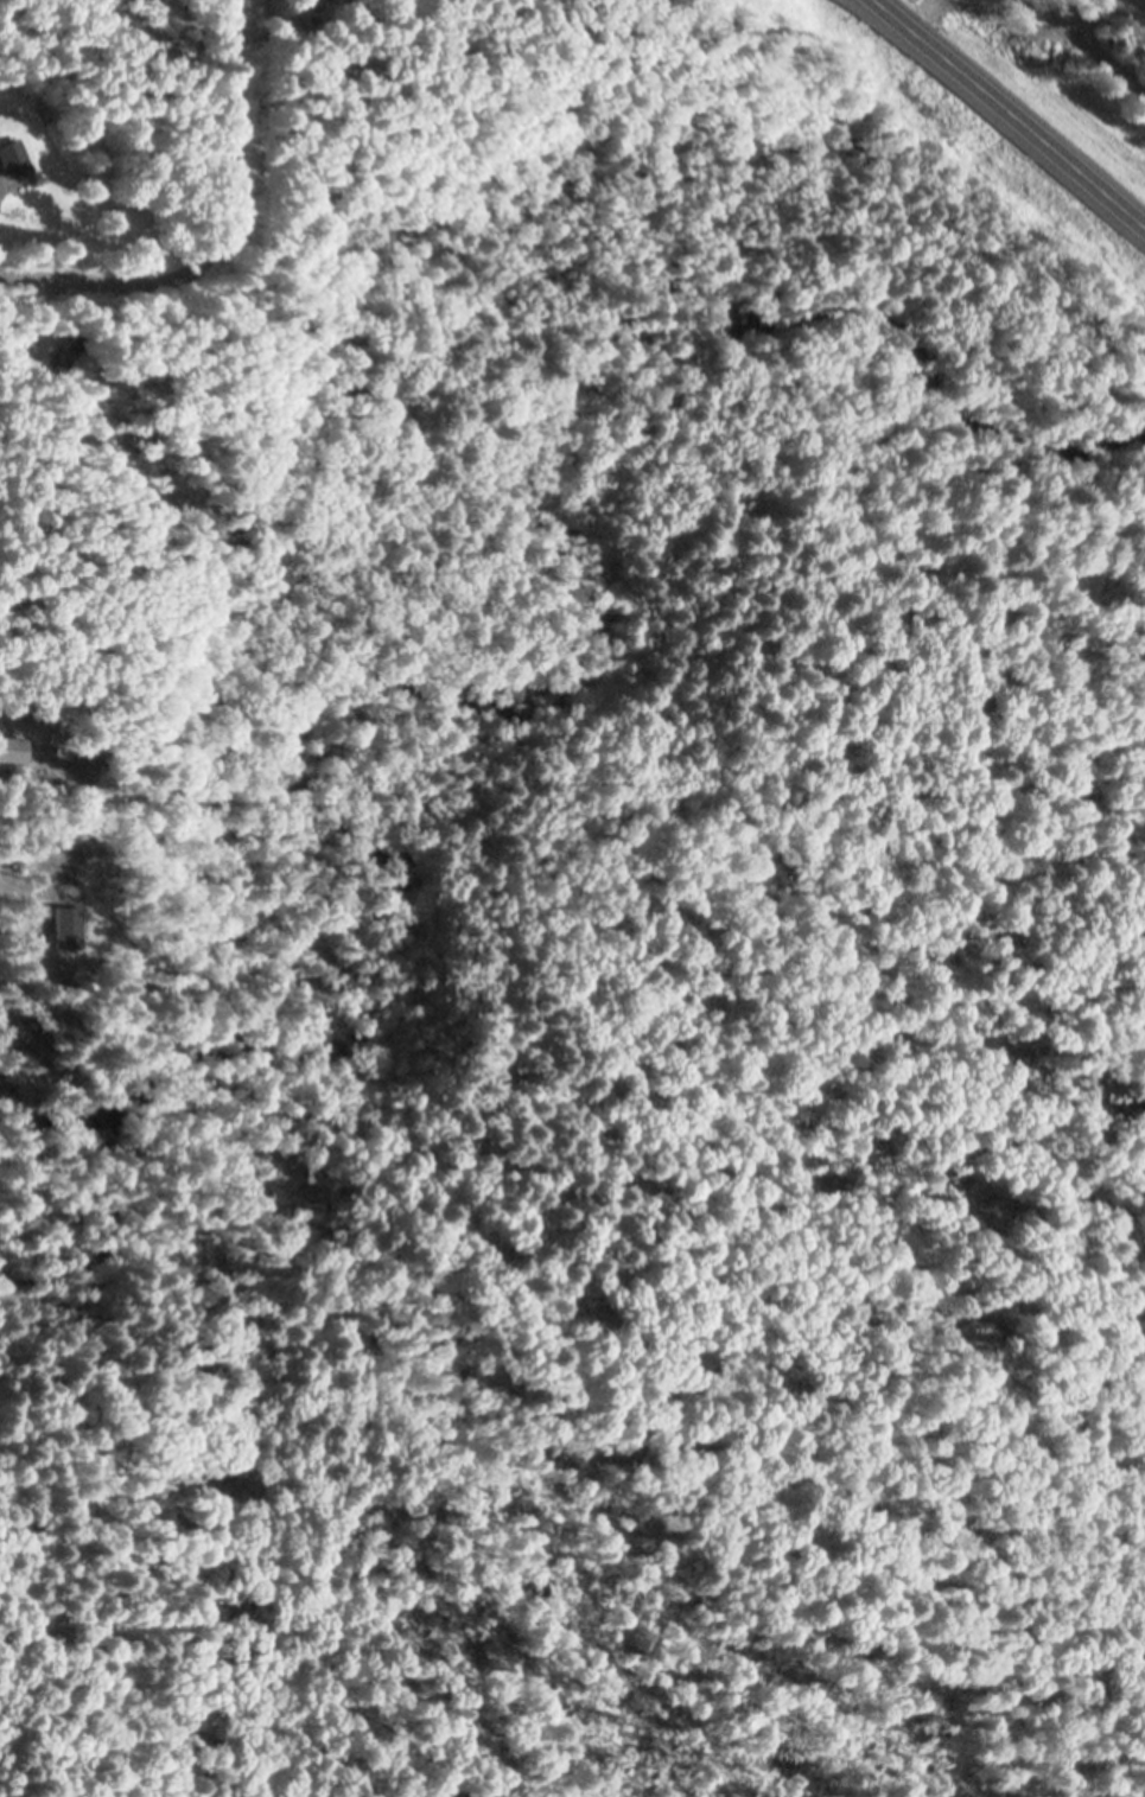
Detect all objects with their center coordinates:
road: (1086, 47)
road: (1009, 117)
building: (11, 158)
building: (74, 164)
road: (218, 236)
building: (64, 353)
building: (2, 357)
building: (95, 635)
building: (59, 649)
river: (536, 709)
building: (68, 744)
building: (90, 926)

